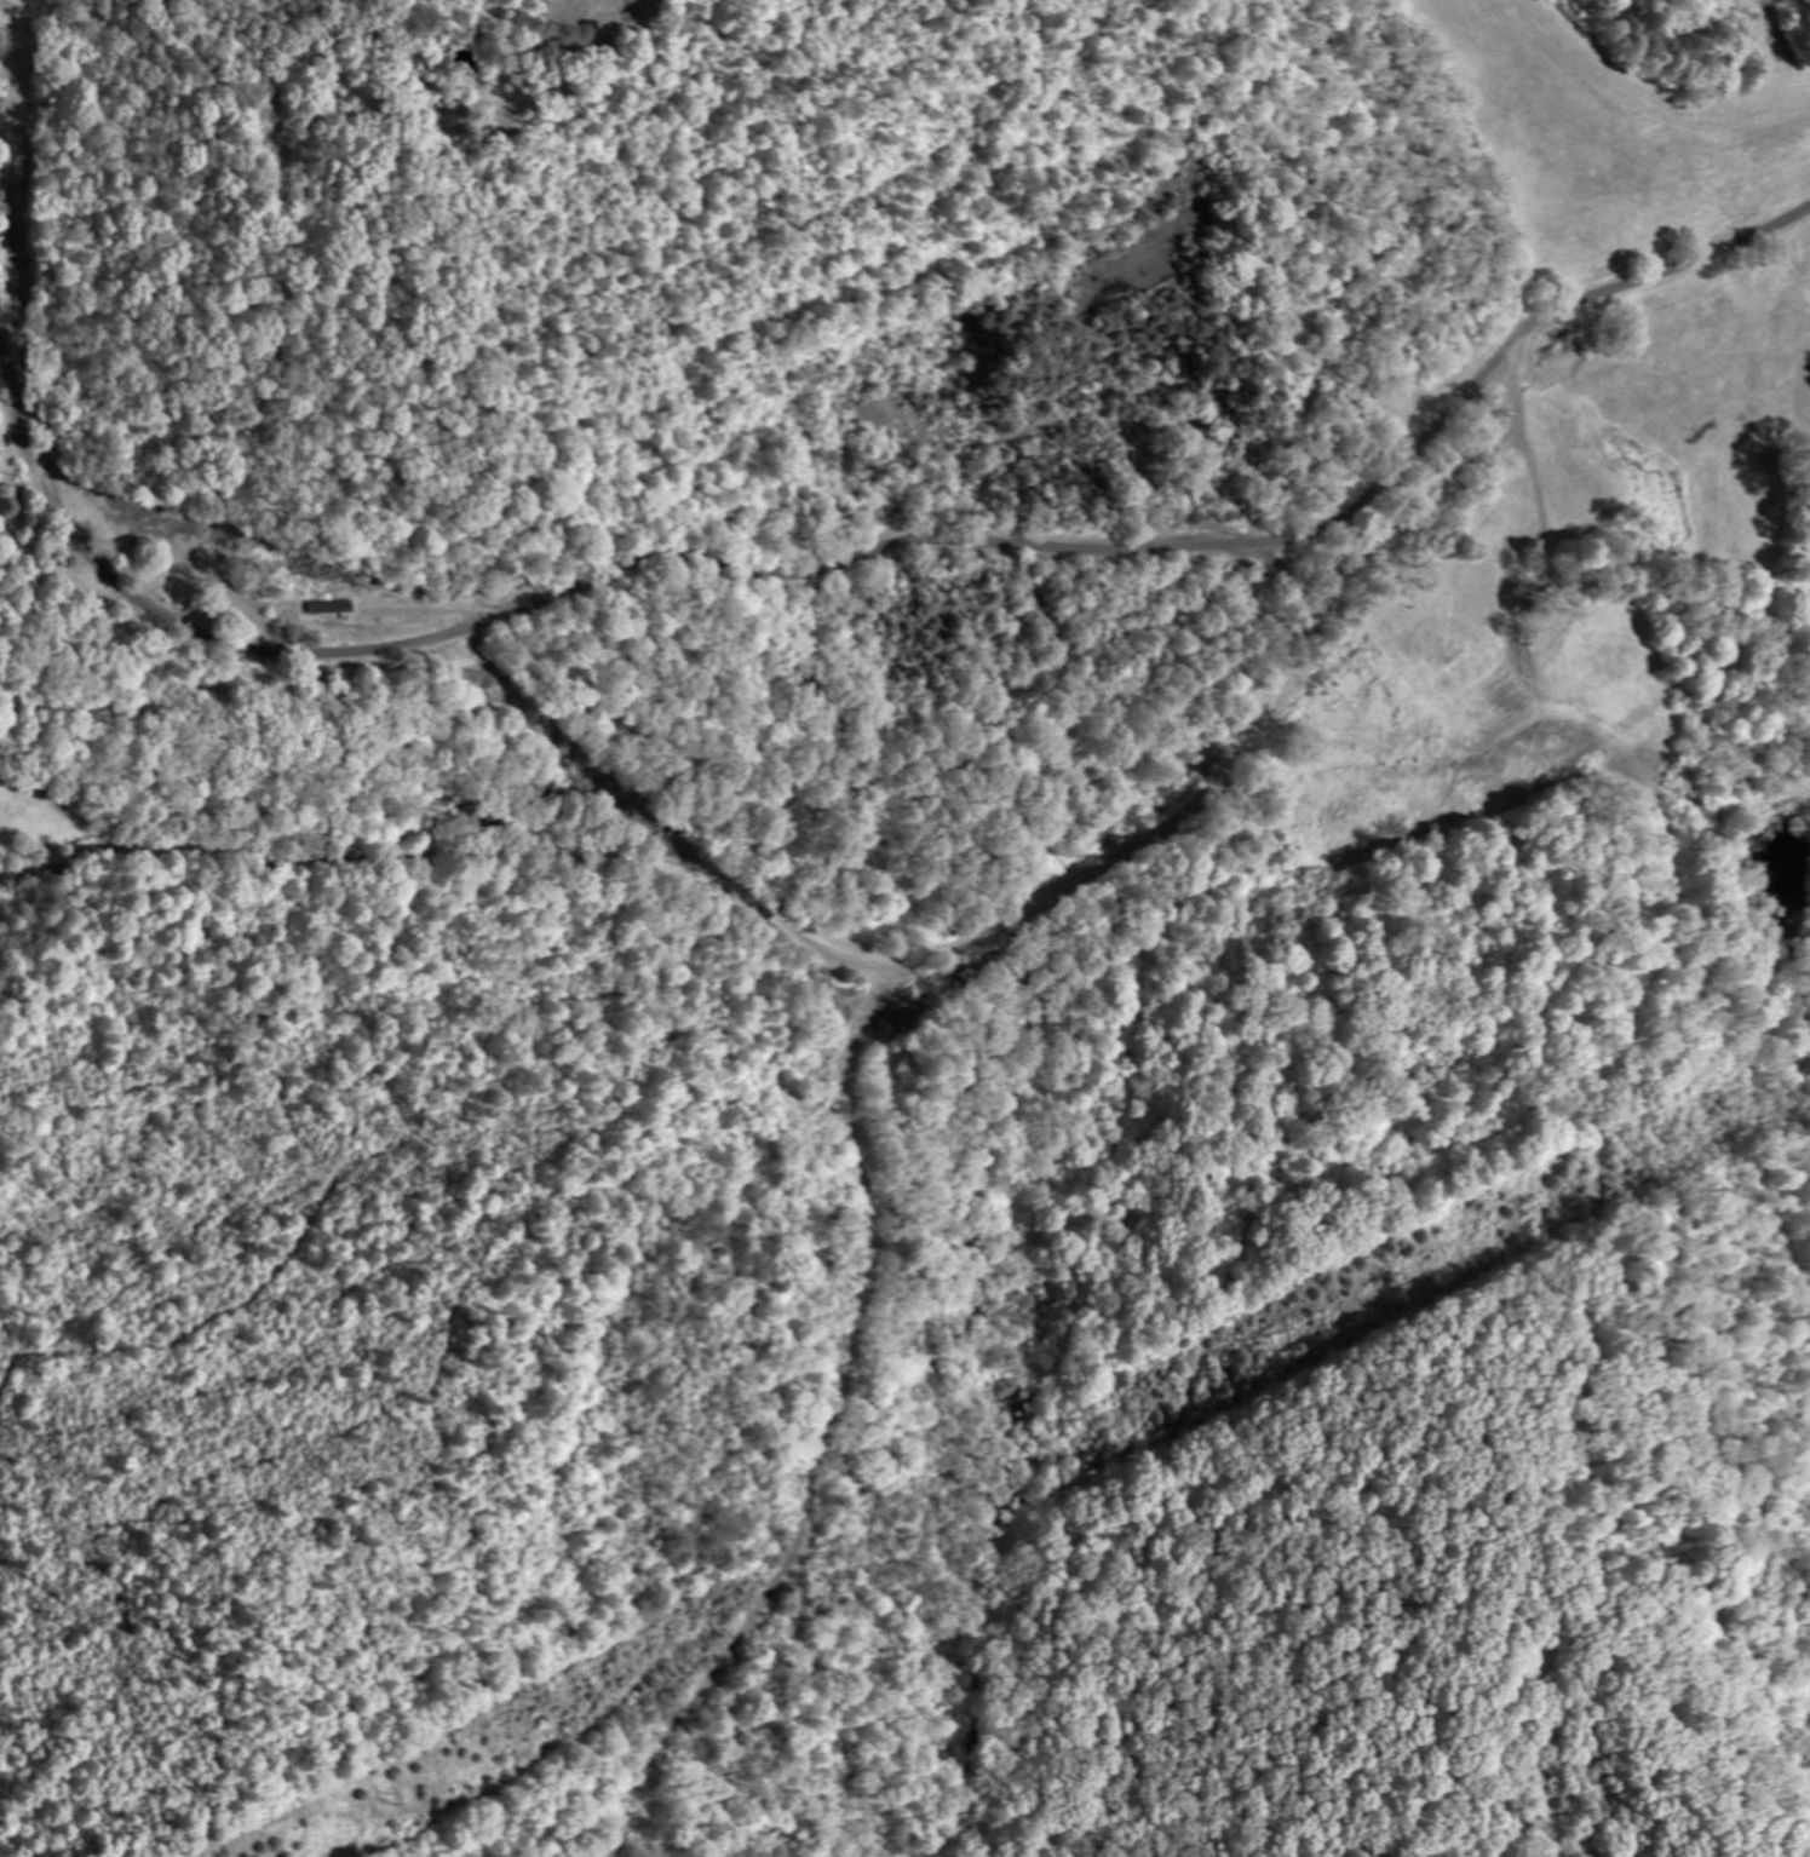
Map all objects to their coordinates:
road: (705, 558)
building: (333, 608)
road: (207, 682)
road: (58, 809)
road: (1048, 898)

